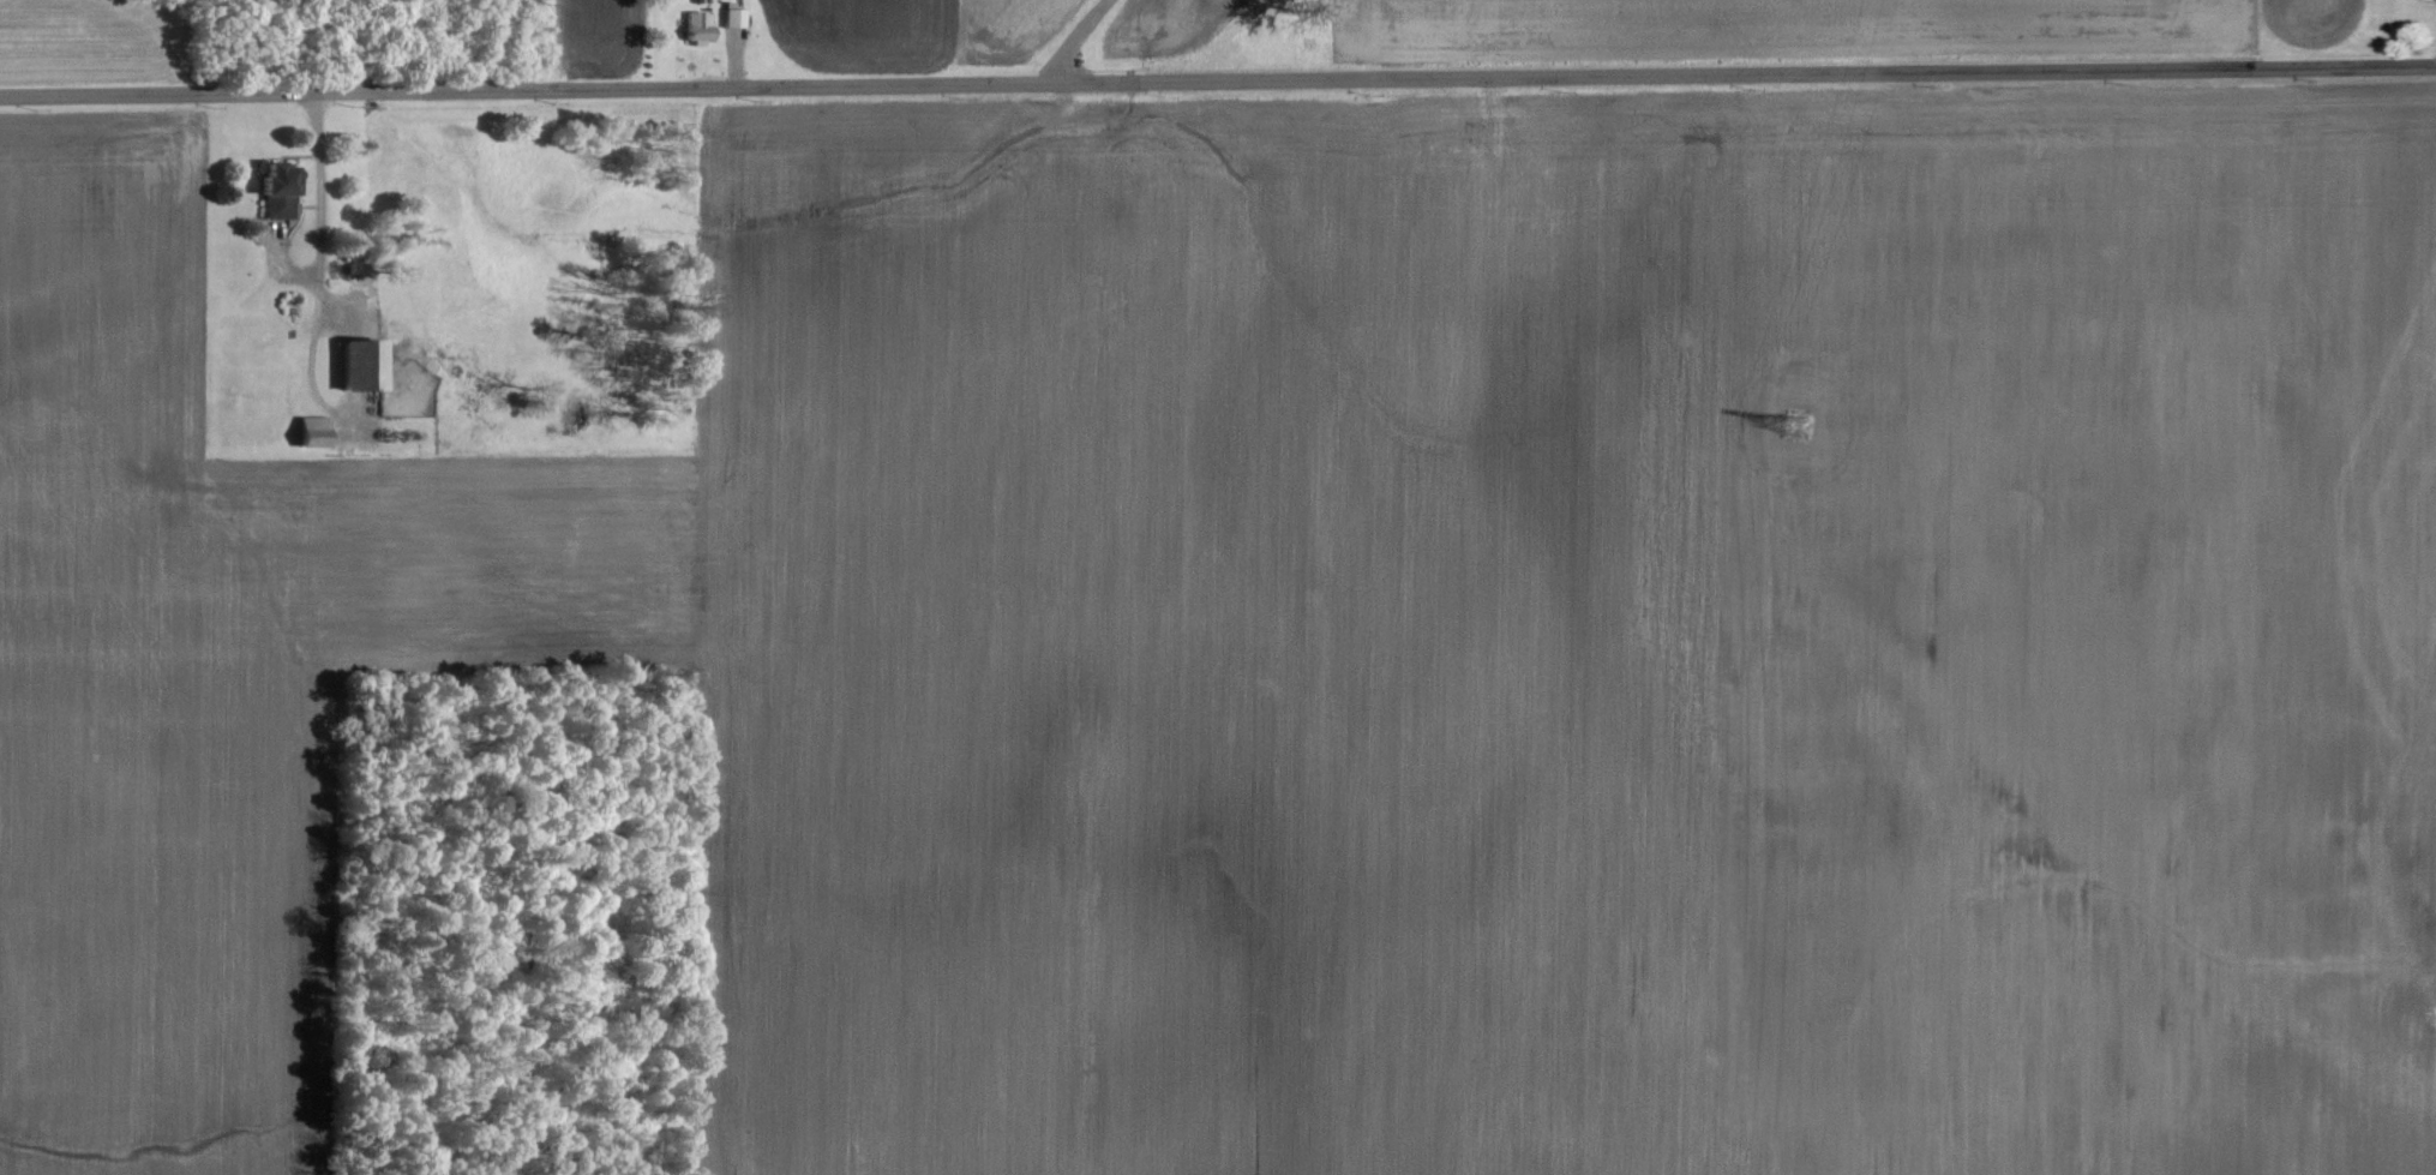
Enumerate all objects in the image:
building: (736, 18)
road: (1079, 37)
road: (1217, 74)
building: (281, 173)
power tower: (1796, 424)
building: (318, 432)

